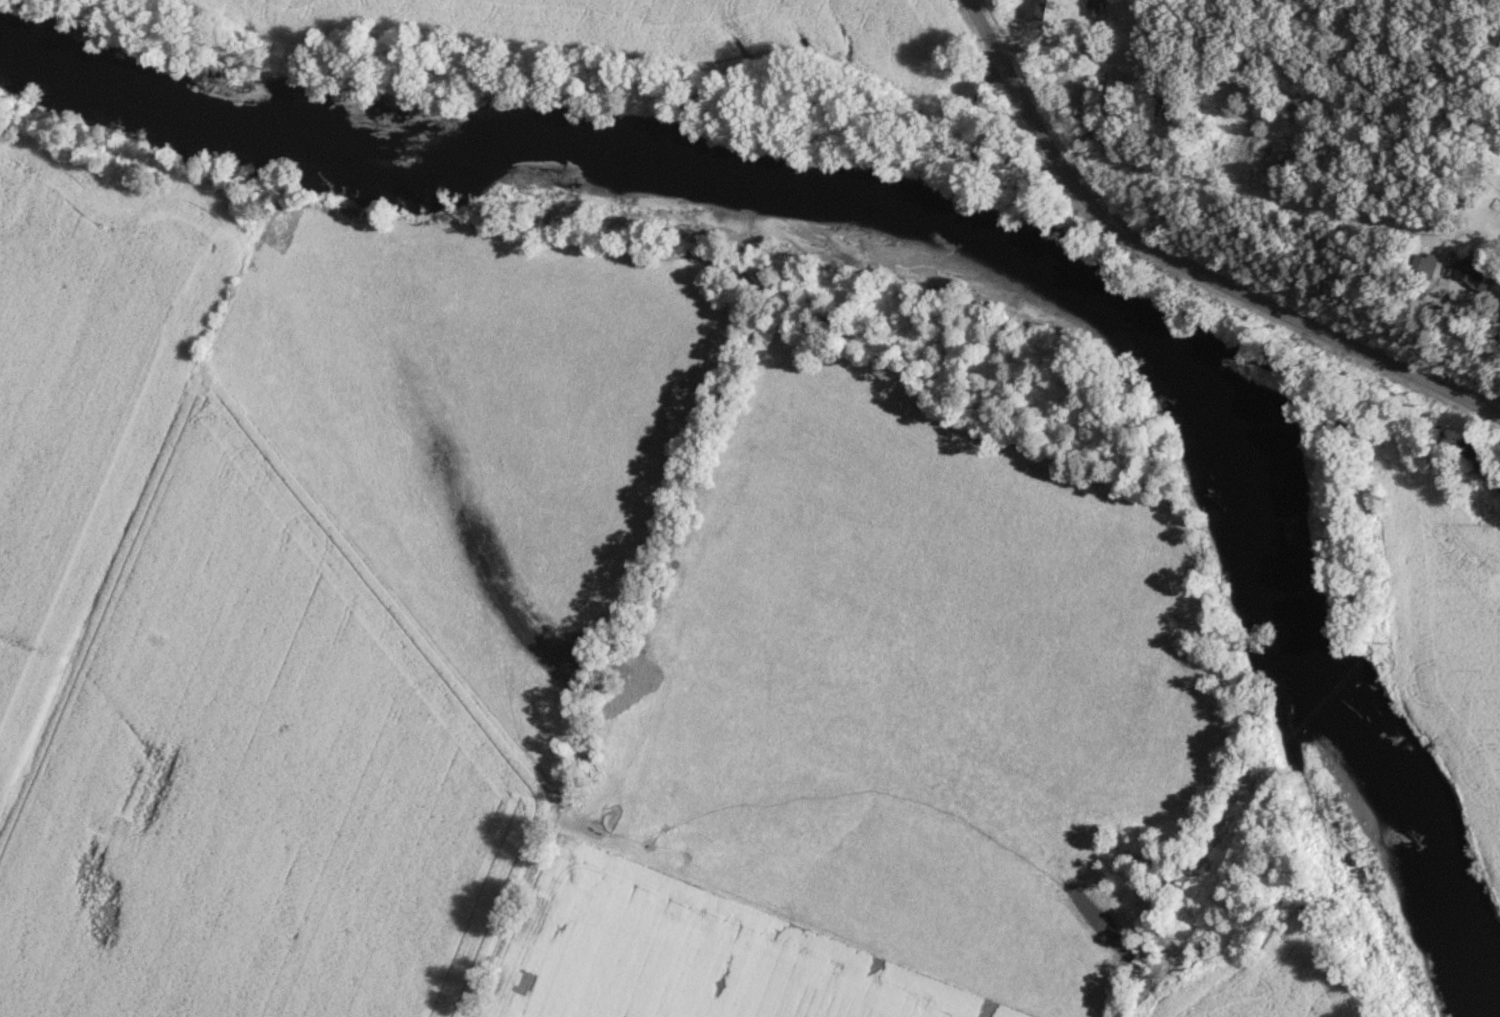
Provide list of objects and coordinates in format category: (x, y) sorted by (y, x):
building: (1037, 10)
road: (1127, 60)
building: (1114, 91)
building: (1165, 106)
building: (1240, 137)
building: (1007, 151)
river: (952, 222)
road: (1184, 263)
building: (1475, 271)
road: (1473, 321)
crop: (87, 387)
crop: (257, 775)
crop: (685, 956)
crop: (1273, 979)

